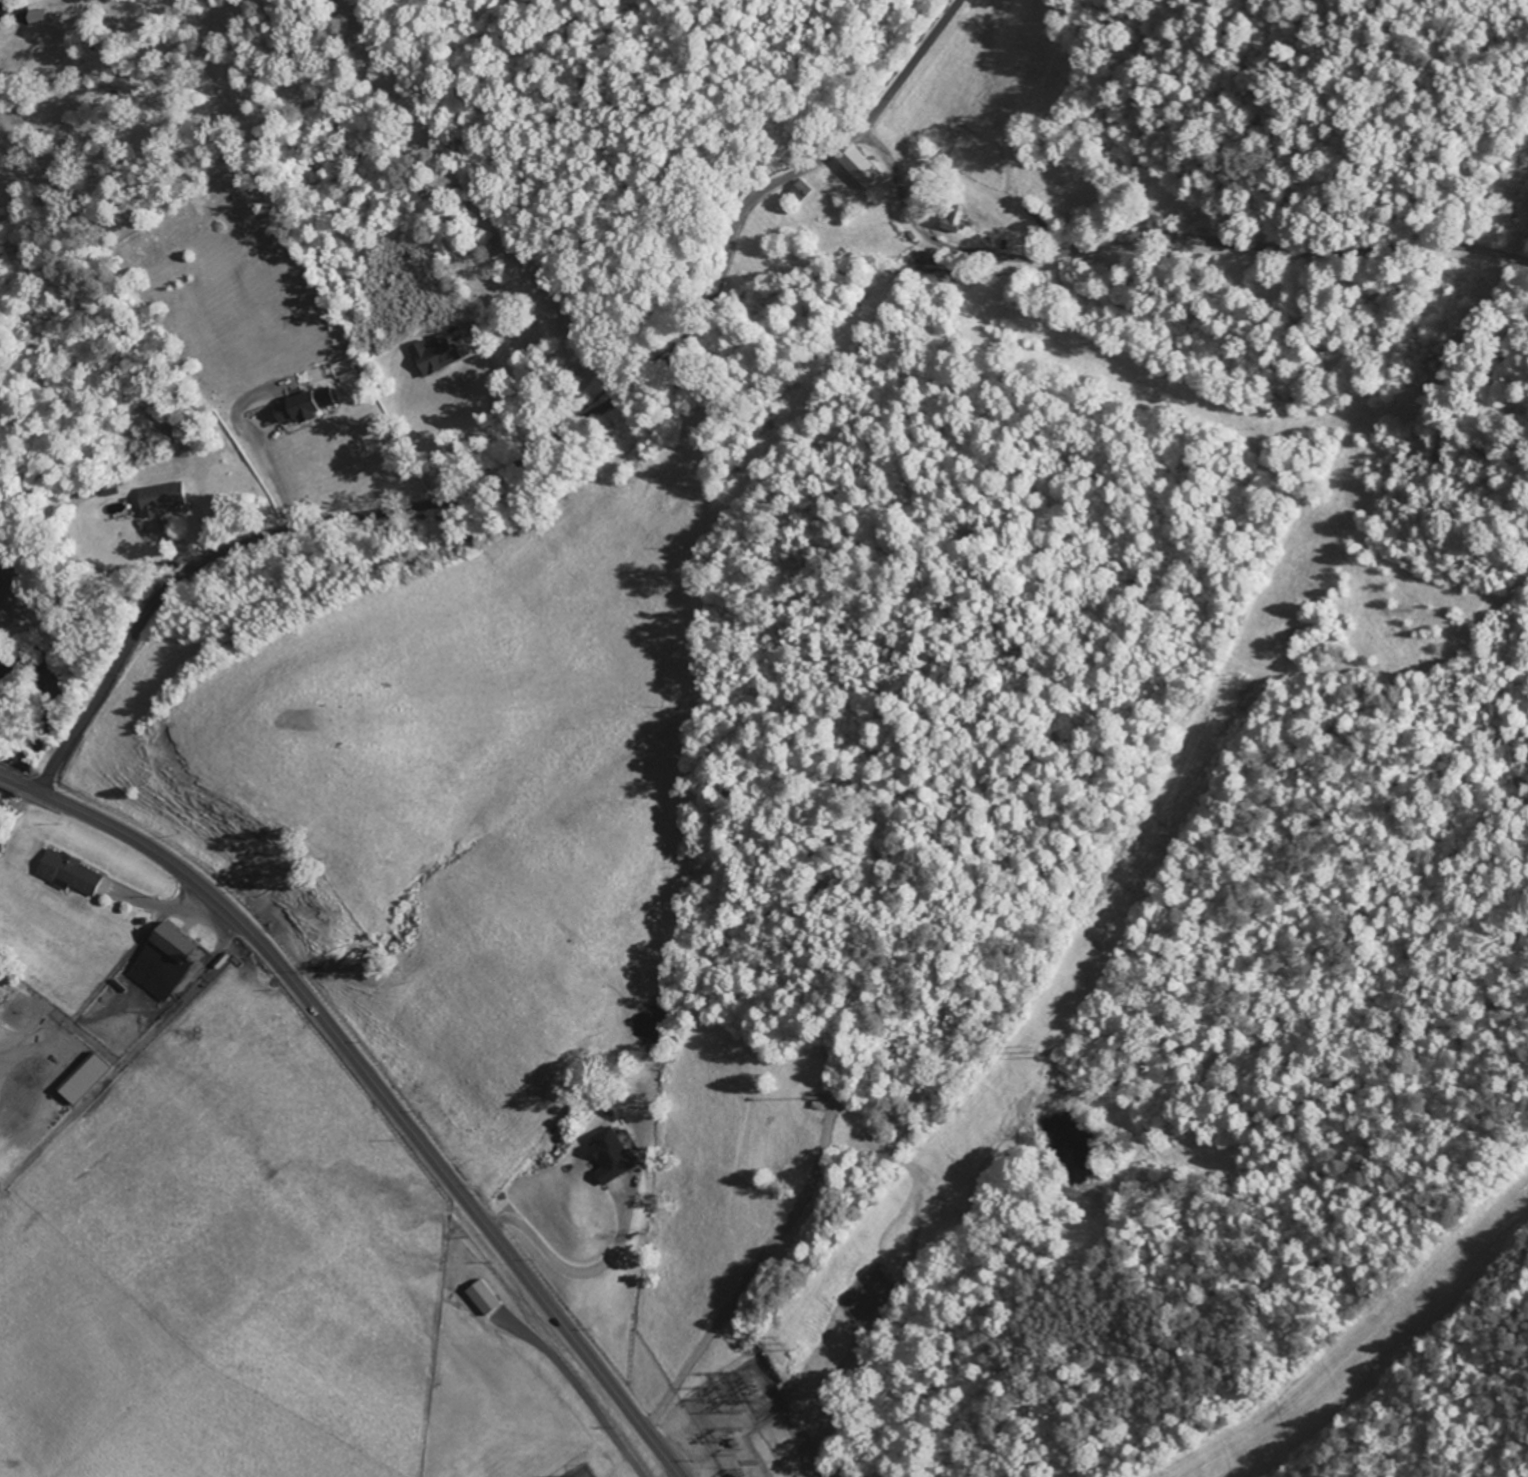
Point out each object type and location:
building: (39, 17)
building: (862, 168)
building: (800, 192)
building: (436, 354)
building: (306, 406)
road: (534, 452)
building: (163, 498)
power tower: (1247, 676)
building: (74, 873)
building: (178, 944)
power tower: (1041, 1051)
road: (376, 1085)
road: (578, 1275)
building: (485, 1297)
power tower: (790, 1342)
power substation: (736, 1416)
road: (705, 1467)
power substation: (583, 1472)

